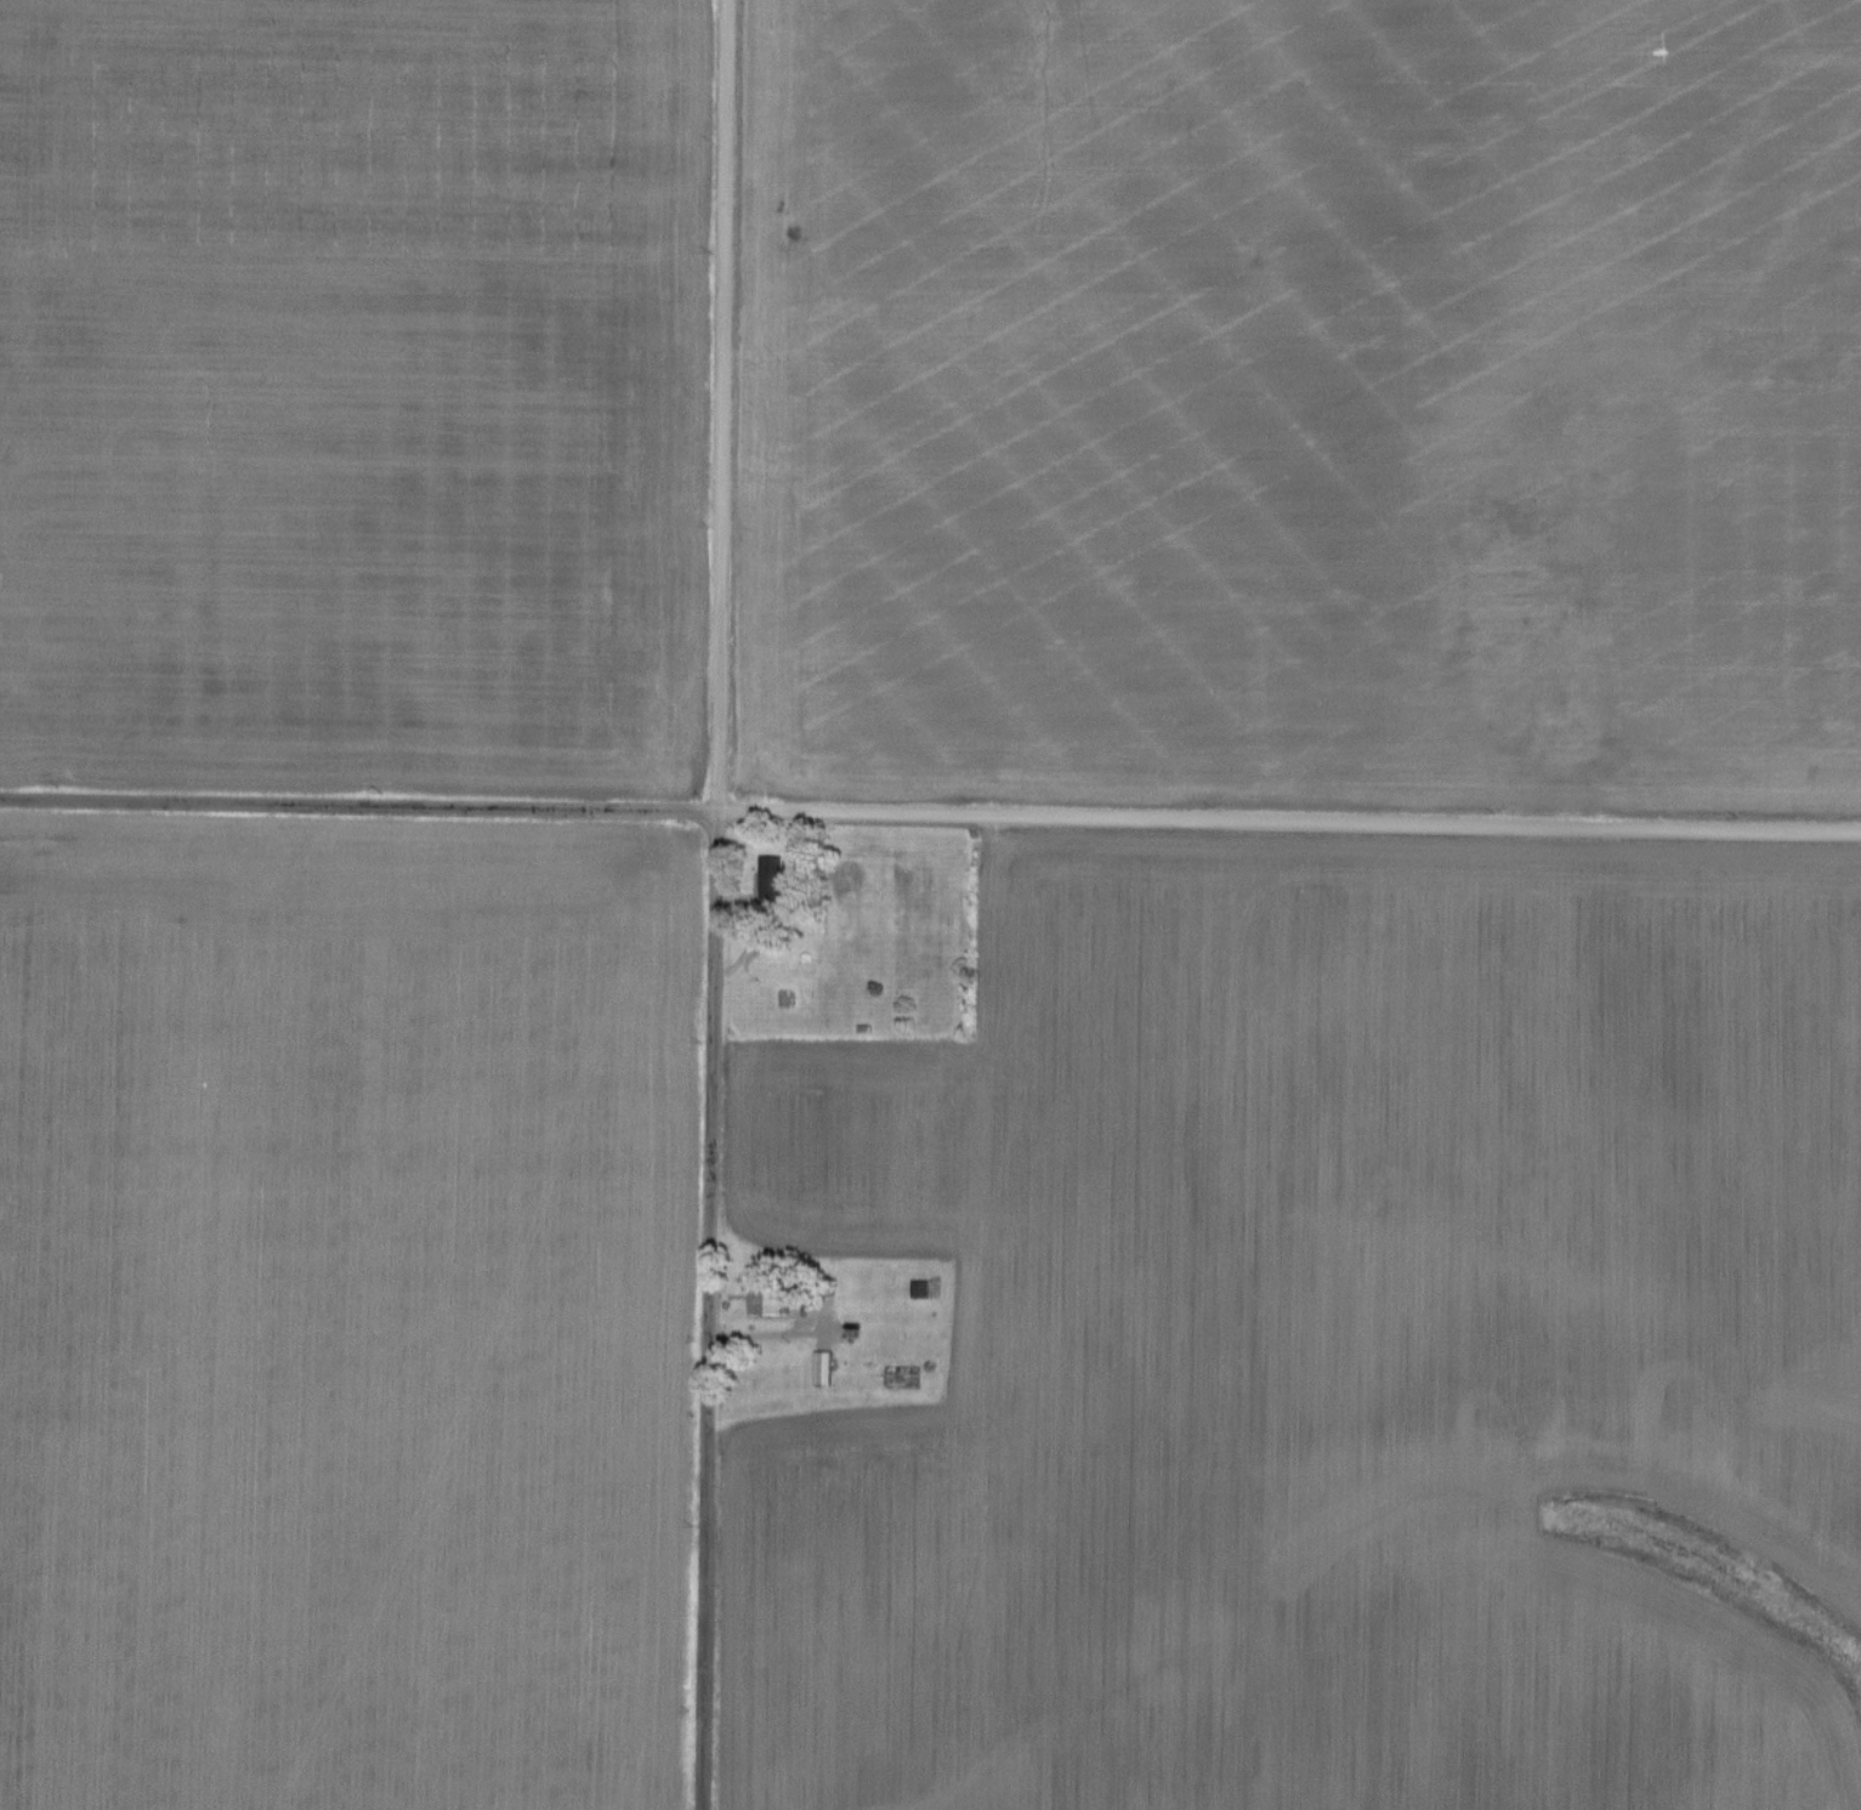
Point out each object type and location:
road: (930, 816)
building: (770, 875)
road: (717, 904)
building: (761, 1303)

